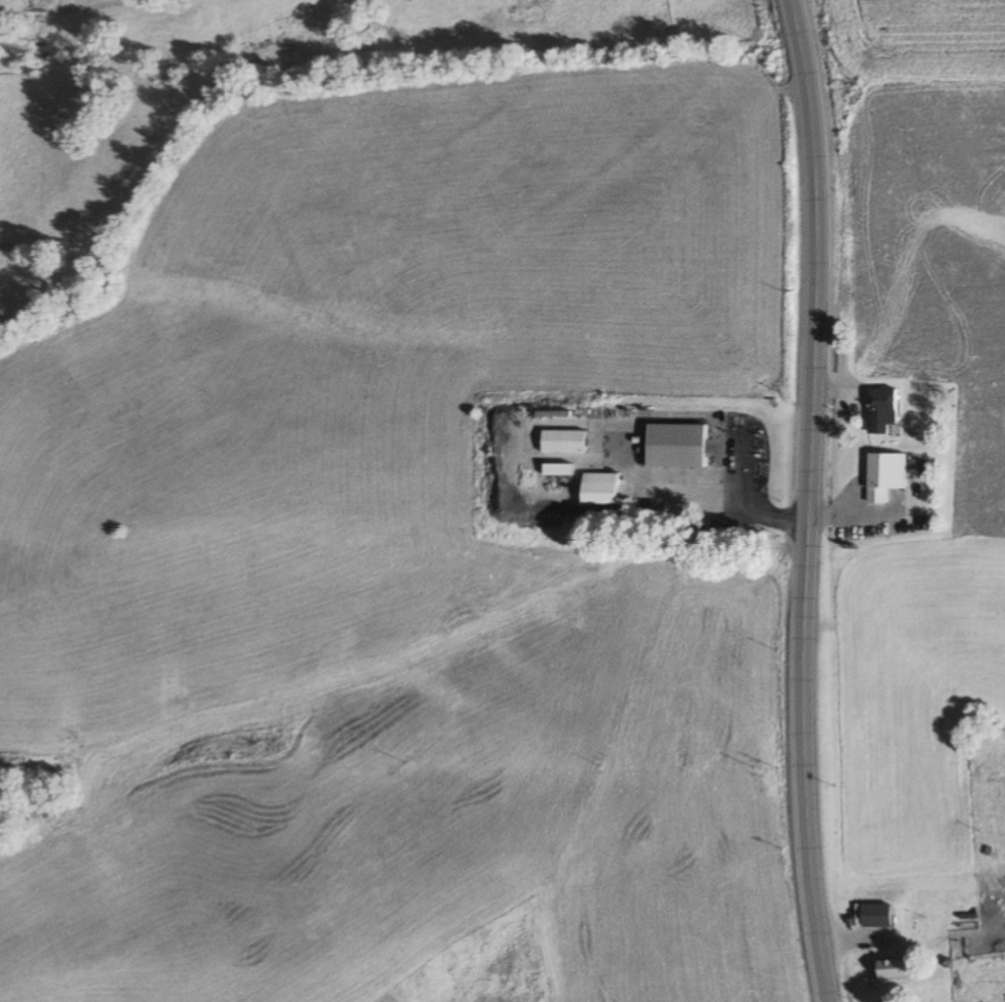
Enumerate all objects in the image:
road: (793, 33)
building: (879, 409)
building: (565, 441)
building: (675, 445)
building: (884, 474)
road: (807, 534)
building: (874, 915)
road: (845, 940)
building: (891, 969)

